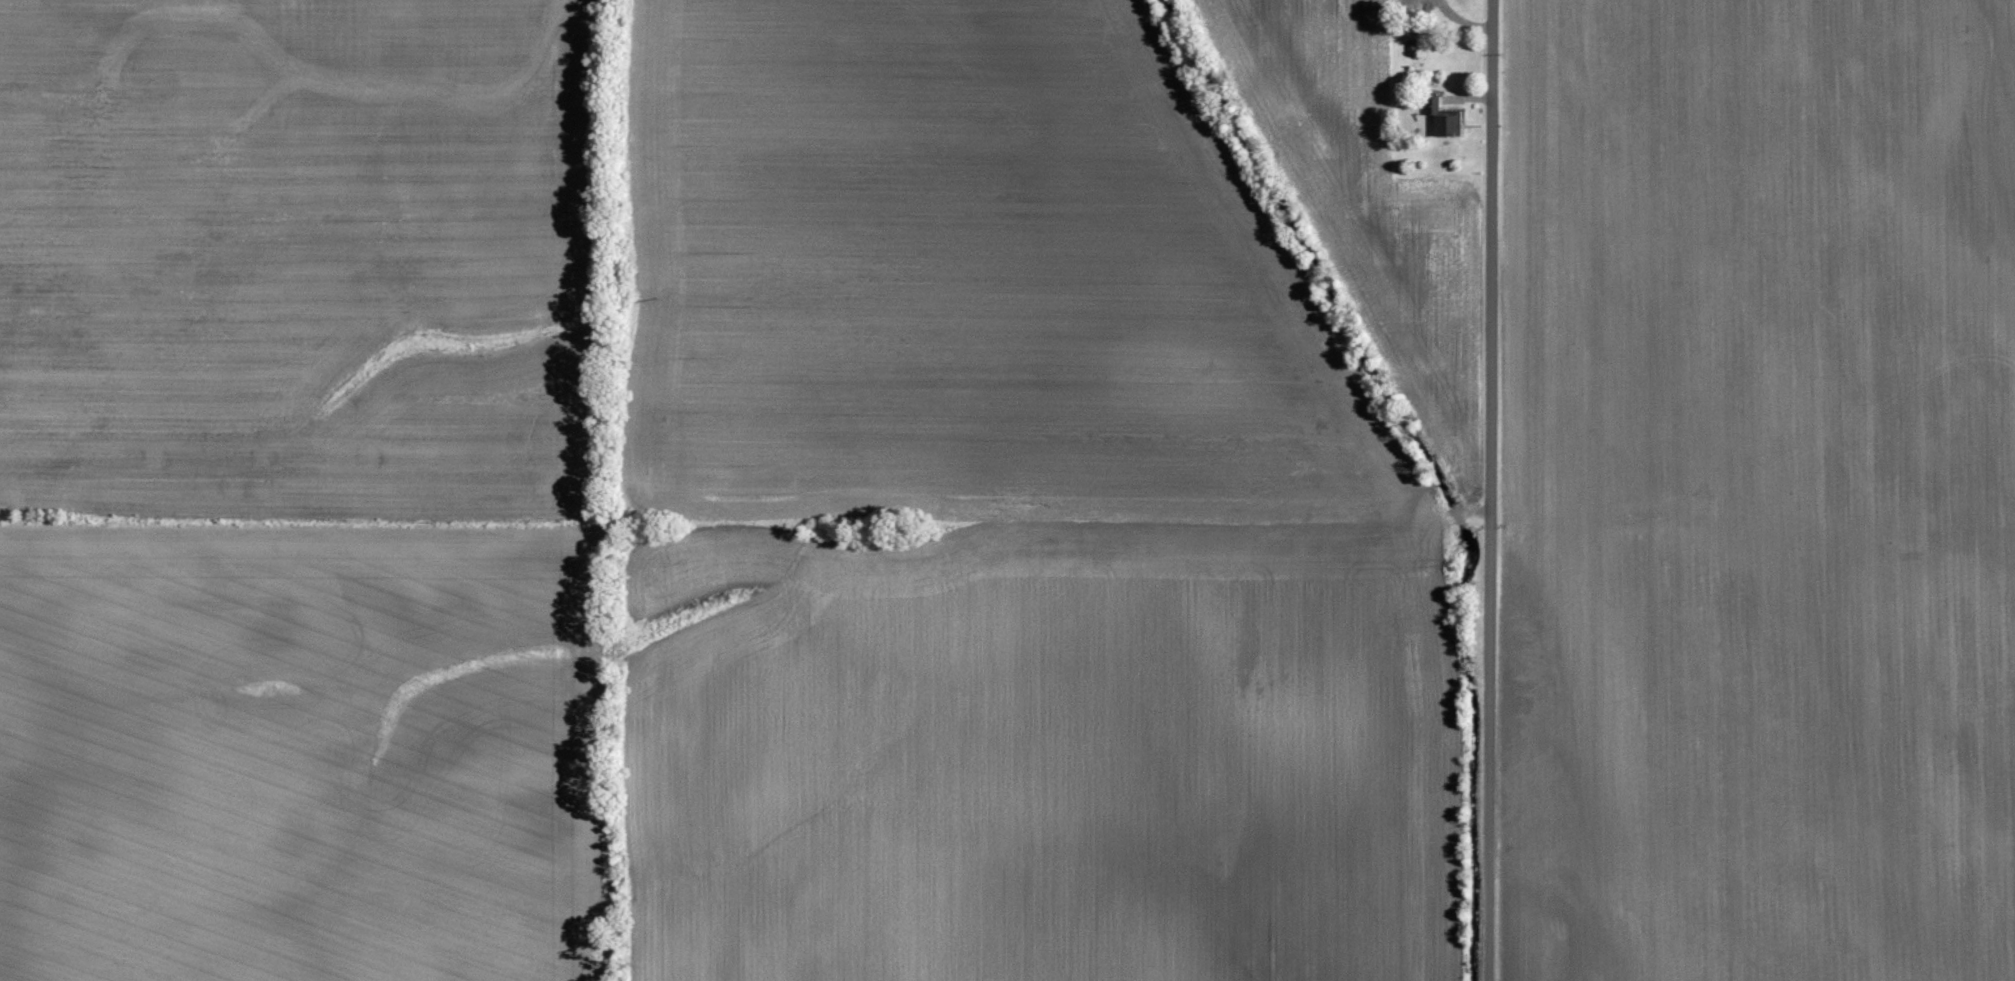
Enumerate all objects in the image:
road: (1491, 490)
road: (1417, 515)

